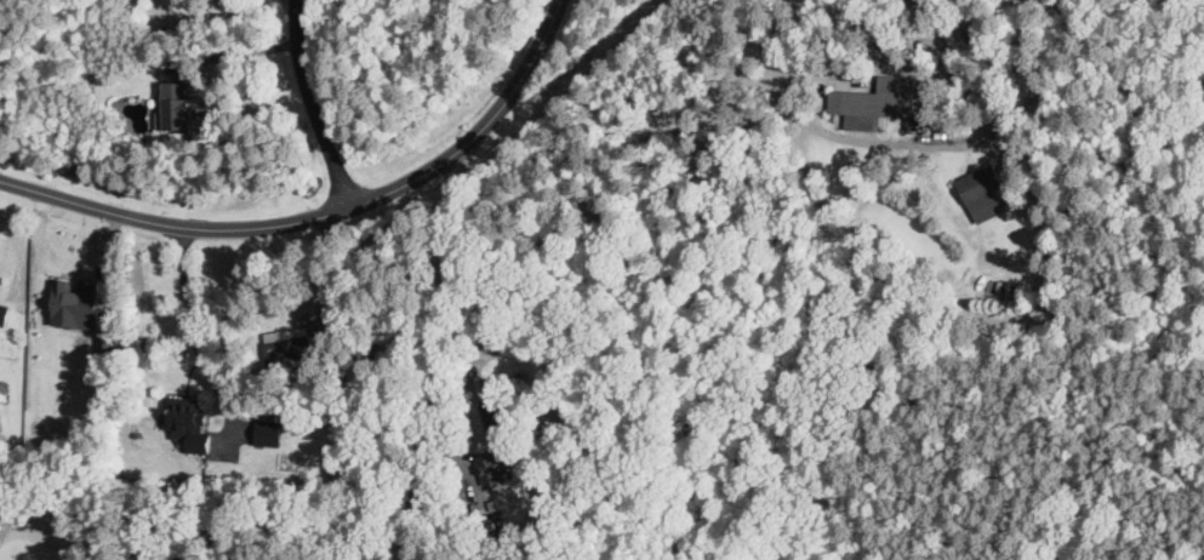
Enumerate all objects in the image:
road: (222, 13)
building: (960, 35)
building: (884, 102)
building: (177, 105)
road: (310, 108)
road: (900, 142)
building: (986, 194)
road: (327, 216)
road: (335, 275)
building: (75, 302)
building: (4, 313)
road: (194, 335)
building: (290, 349)
road: (436, 361)
building: (190, 422)
building: (497, 423)
building: (270, 433)
building: (492, 469)

